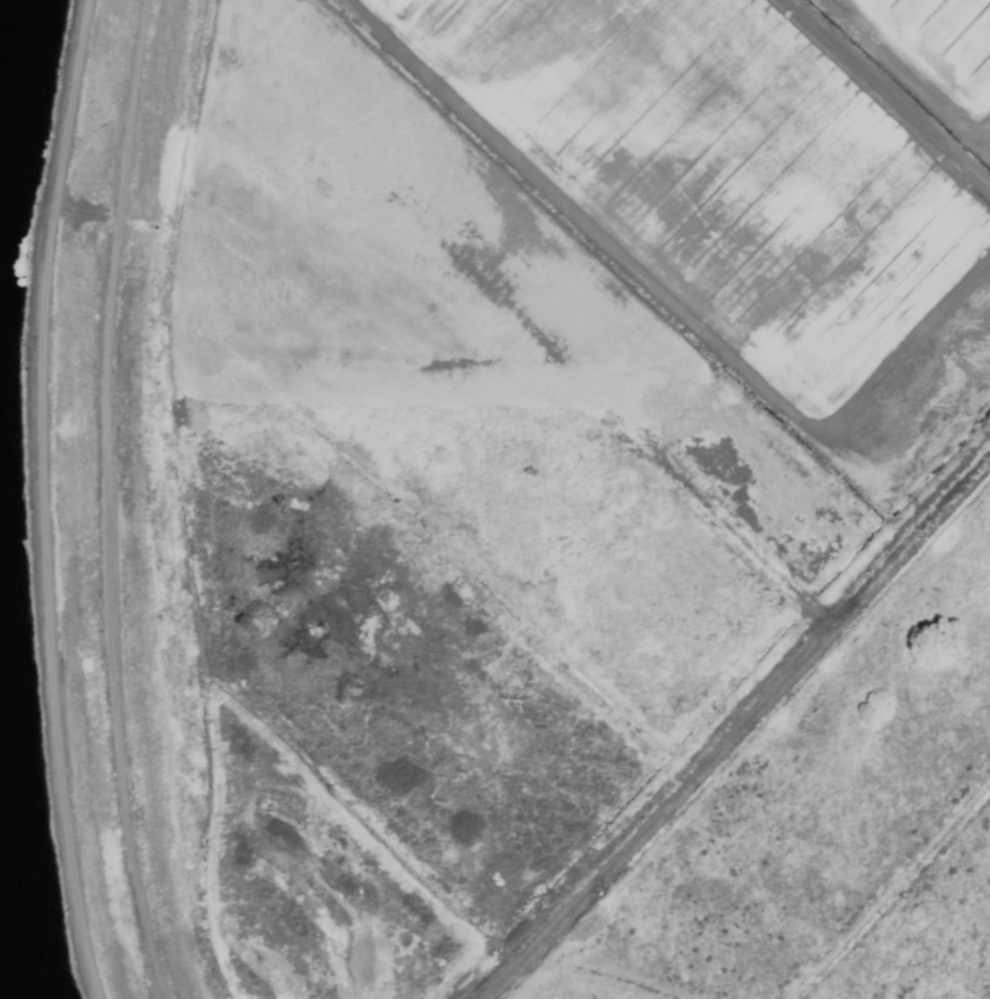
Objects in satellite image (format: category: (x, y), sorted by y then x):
crop: (569, 494)
road: (43, 498)

